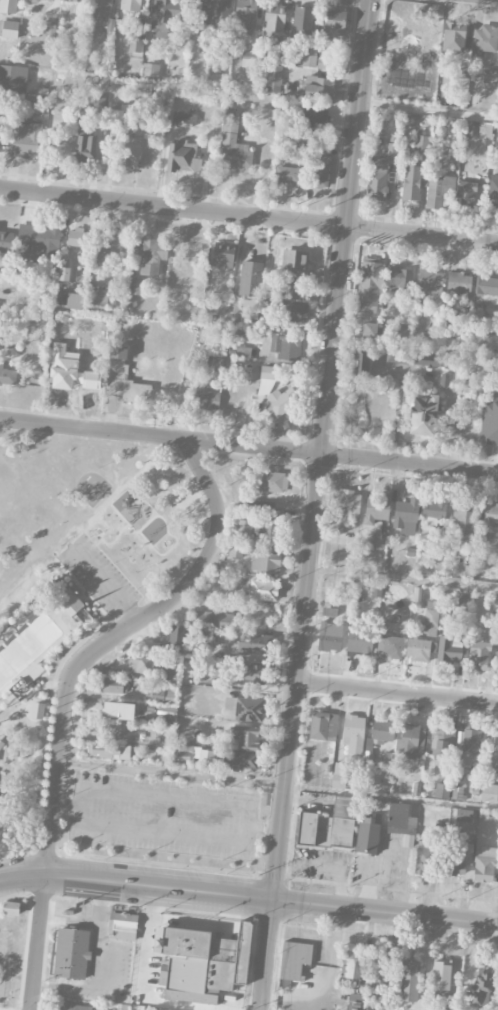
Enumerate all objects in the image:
building: (42, 0)
building: (74, 0)
building: (130, 5)
building: (8, 6)
building: (100, 8)
building: (201, 12)
building: (164, 16)
building: (245, 16)
building: (274, 17)
building: (303, 23)
building: (334, 26)
building: (8, 29)
building: (48, 30)
building: (412, 32)
building: (453, 38)
building: (484, 40)
building: (135, 47)
building: (250, 58)
building: (150, 71)
building: (462, 71)
building: (274, 76)
building: (490, 76)
building: (10, 77)
building: (318, 88)
building: (33, 102)
building: (97, 104)
road: (429, 110)
building: (115, 113)
building: (316, 118)
building: (183, 119)
building: (97, 122)
building: (26, 138)
building: (84, 142)
building: (421, 143)
building: (233, 145)
building: (391, 151)
building: (130, 152)
building: (183, 157)
building: (316, 161)
building: (288, 175)
building: (376, 181)
building: (411, 183)
road: (131, 188)
building: (438, 190)
building: (493, 192)
building: (466, 194)
road: (118, 215)
road: (248, 216)
road: (423, 220)
road: (364, 221)
building: (78, 238)
building: (6, 241)
building: (38, 241)
building: (108, 247)
building: (223, 255)
building: (150, 256)
building: (293, 260)
building: (63, 268)
building: (251, 279)
building: (398, 279)
building: (459, 282)
building: (429, 286)
building: (486, 286)
building: (136, 287)
building: (369, 287)
building: (287, 288)
building: (37, 292)
building: (96, 296)
building: (69, 300)
building: (294, 311)
building: (369, 330)
building: (286, 347)
building: (117, 353)
building: (430, 360)
building: (361, 363)
building: (269, 373)
building: (7, 375)
building: (134, 391)
building: (207, 400)
building: (280, 401)
building: (423, 416)
building: (489, 422)
road: (249, 445)
road: (324, 450)
building: (271, 481)
park: (88, 488)
building: (346, 506)
building: (261, 507)
building: (376, 509)
building: (434, 511)
building: (490, 515)
building: (406, 516)
road: (162, 523)
building: (464, 526)
building: (243, 528)
building: (267, 532)
road: (102, 543)
building: (362, 548)
building: (235, 550)
building: (264, 561)
parking lot: (95, 576)
road: (404, 578)
road: (105, 584)
road: (87, 587)
road: (77, 588)
building: (56, 589)
building: (263, 590)
building: (463, 600)
building: (69, 606)
building: (431, 613)
park: (74, 615)
building: (214, 618)
building: (176, 635)
building: (330, 636)
building: (207, 640)
building: (359, 640)
building: (27, 644)
building: (250, 644)
building: (389, 646)
building: (418, 649)
building: (449, 649)
building: (479, 654)
building: (497, 660)
building: (143, 665)
building: (250, 671)
building: (110, 686)
road: (66, 688)
building: (20, 690)
road: (397, 692)
building: (162, 695)
road: (23, 700)
road: (36, 700)
building: (33, 709)
building: (243, 709)
building: (166, 710)
road: (26, 719)
building: (323, 726)
building: (105, 729)
building: (353, 734)
building: (380, 734)
road: (42, 736)
building: (407, 741)
building: (442, 744)
building: (471, 744)
building: (243, 750)
building: (108, 751)
building: (495, 752)
building: (183, 754)
building: (206, 758)
road: (19, 773)
road: (171, 774)
building: (339, 775)
building: (441, 791)
building: (489, 793)
road: (167, 794)
road: (18, 801)
building: (464, 815)
parking lot: (163, 816)
building: (400, 817)
building: (329, 825)
building: (488, 832)
building: (367, 835)
road: (163, 836)
building: (408, 840)
road: (14, 848)
building: (460, 859)
building: (421, 862)
building: (485, 864)
road: (22, 877)
road: (271, 900)
building: (7, 907)
road: (191, 920)
building: (122, 925)
parking lot: (95, 946)
building: (71, 953)
road: (267, 955)
building: (294, 959)
building: (200, 963)
building: (352, 965)
road: (108, 968)
building: (380, 972)
building: (440, 974)
building: (409, 980)
building: (481, 987)
building: (440, 994)
building: (356, 1002)
building: (78, 1007)
road: (1, 1009)
building: (337, 1009)

